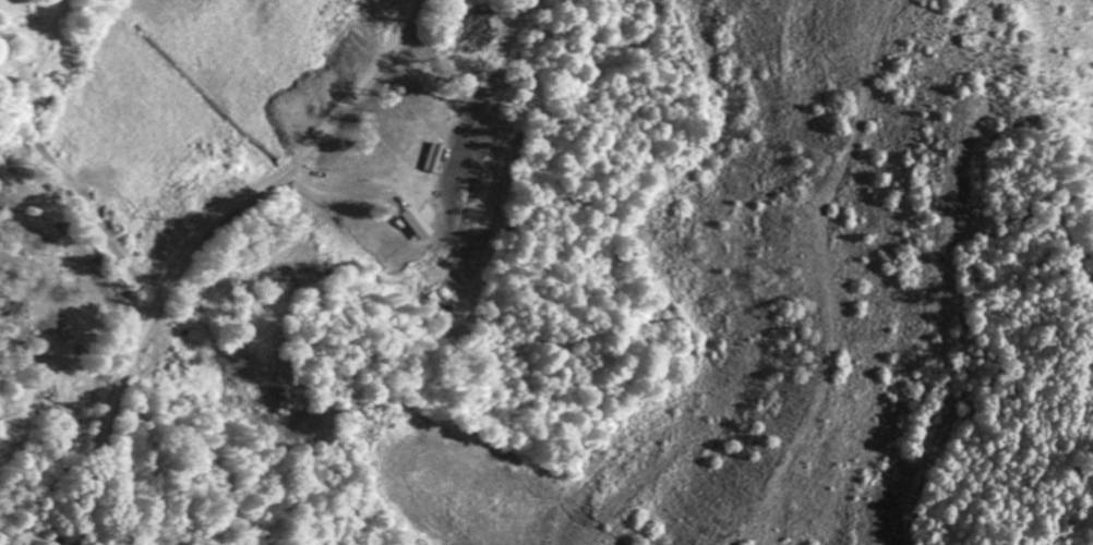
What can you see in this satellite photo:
building: (436, 157)
building: (421, 223)
road: (197, 240)

